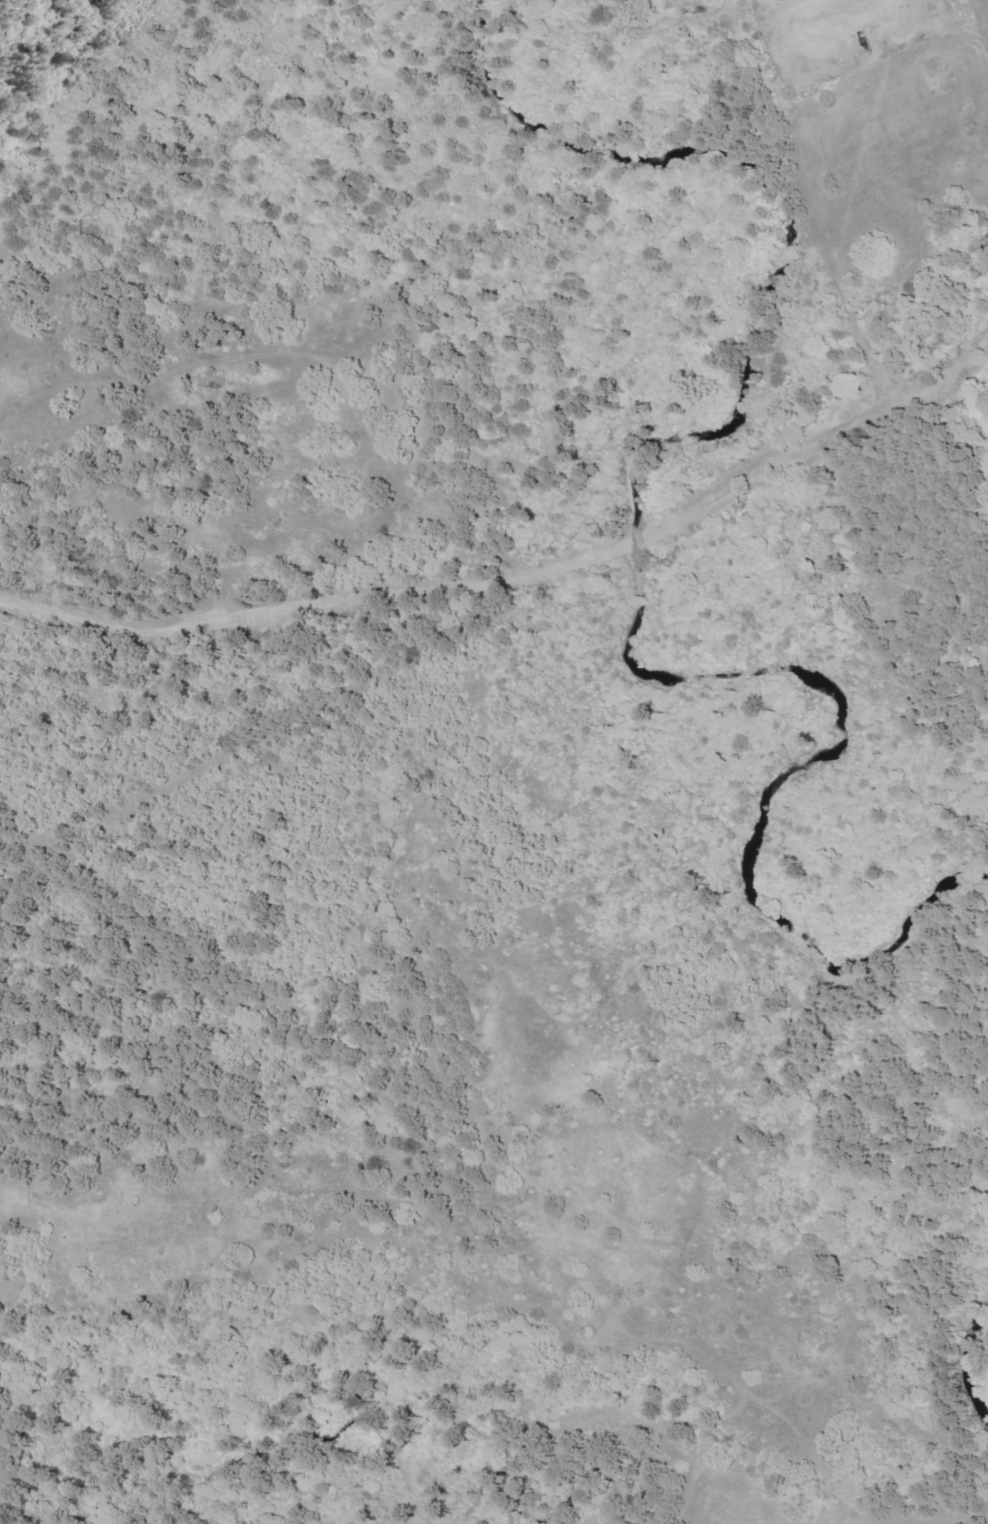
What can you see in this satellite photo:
petroleum well: (865, 39)

